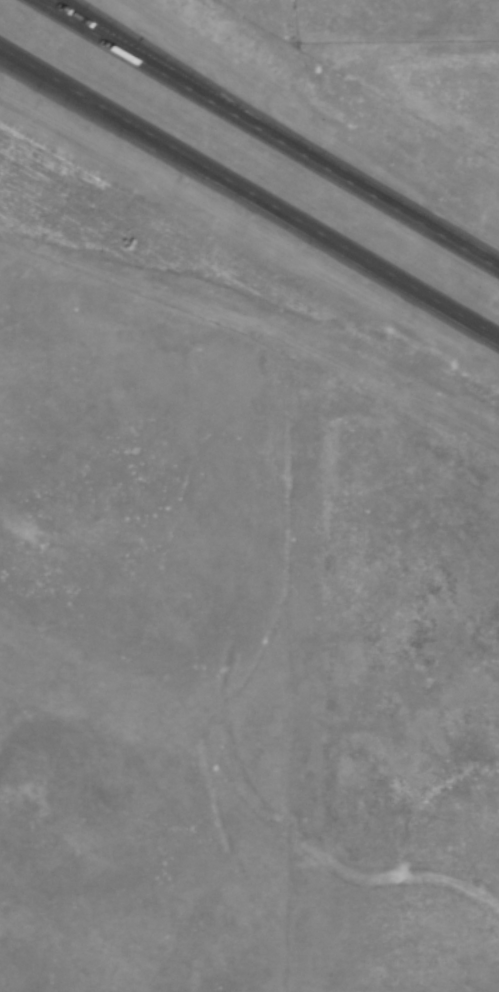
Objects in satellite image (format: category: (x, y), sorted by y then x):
road: (94, 26)
road: (271, 132)
road: (249, 191)

